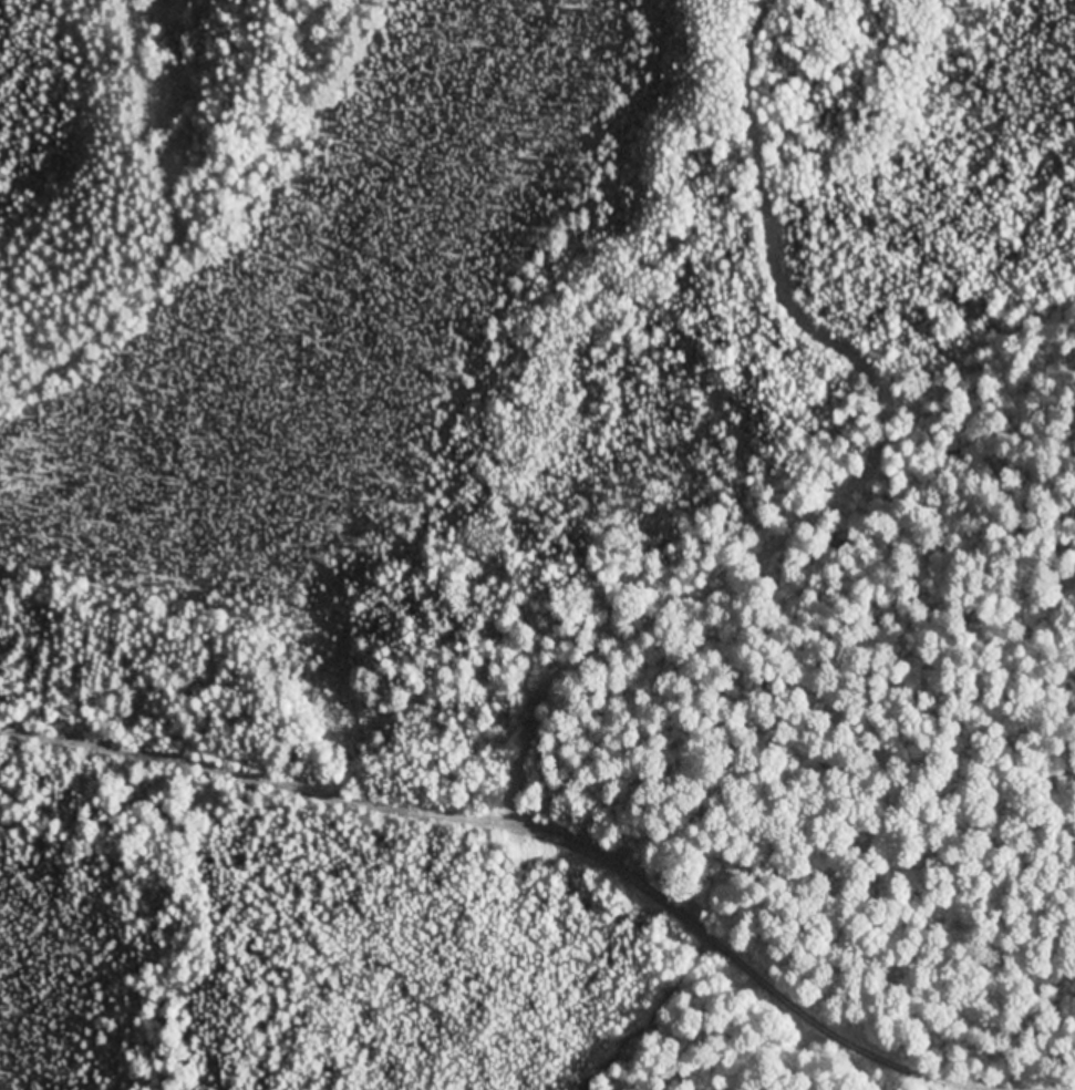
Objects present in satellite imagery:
road: (151, 225)
road: (541, 868)

